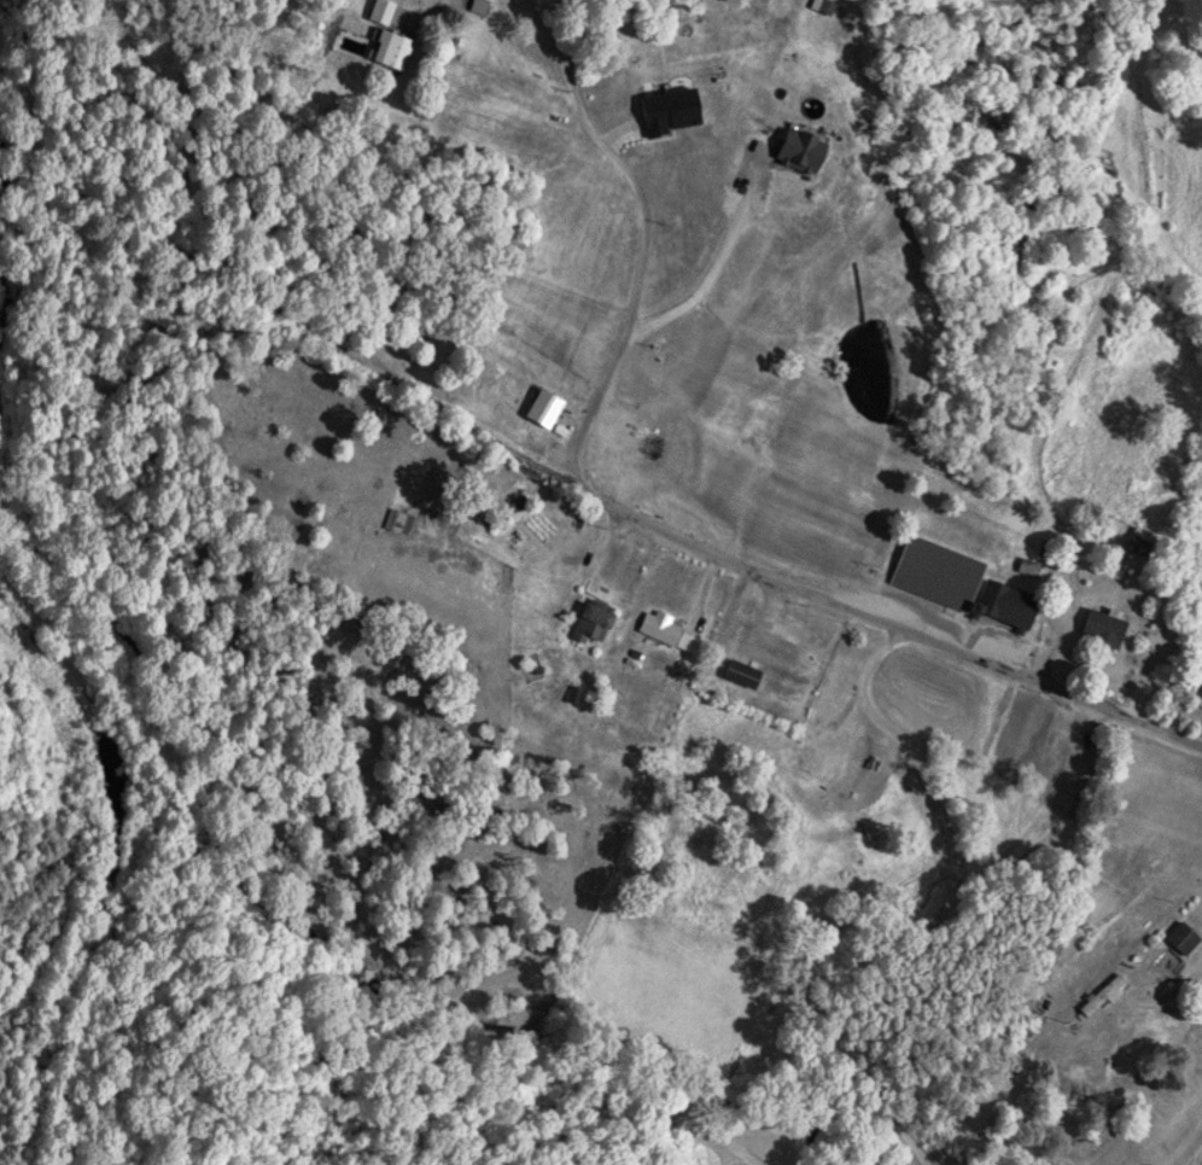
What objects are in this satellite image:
building: (379, 11)
building: (387, 49)
road: (647, 243)
building: (541, 408)
road: (587, 488)
building: (501, 513)
building: (396, 522)
building: (1186, 547)
building: (957, 583)
building: (589, 623)
building: (1099, 629)
building: (664, 631)
building: (737, 672)
building: (1171, 949)

